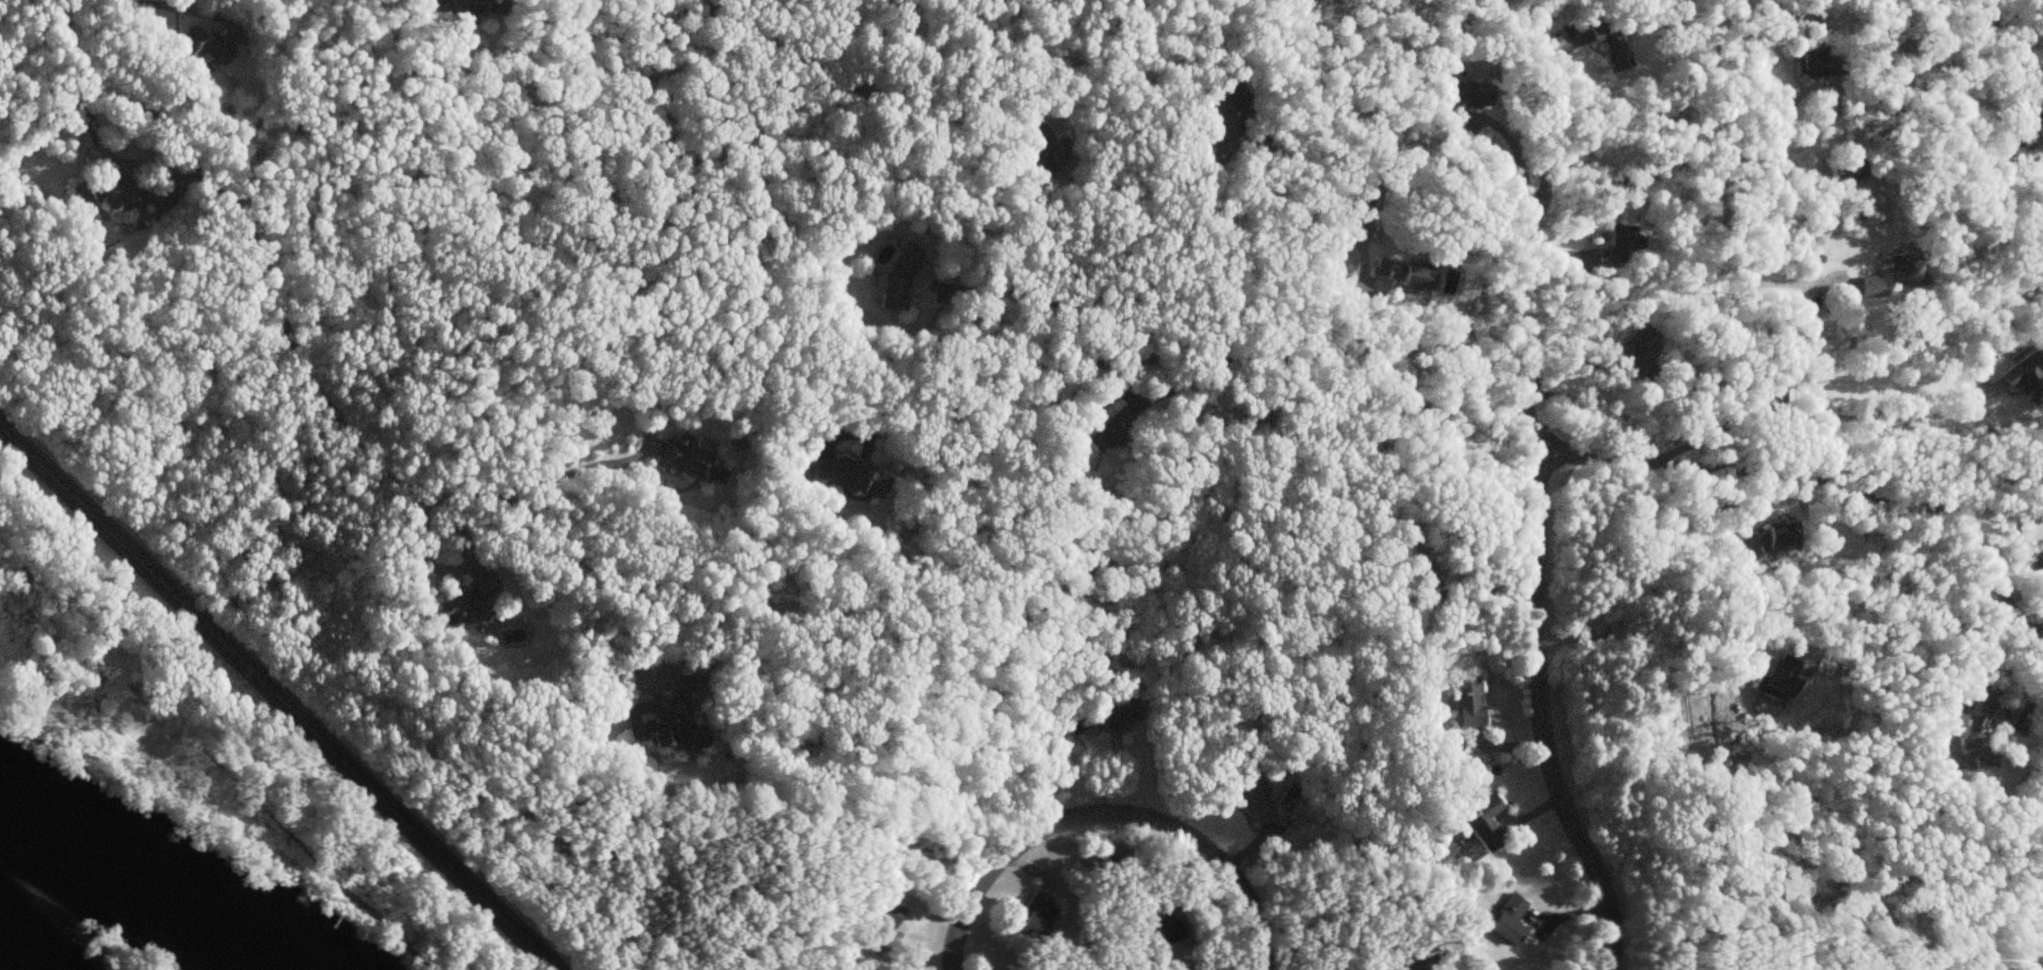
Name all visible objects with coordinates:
road: (175, 6)
building: (471, 7)
building: (1607, 43)
building: (204, 48)
building: (1814, 59)
building: (1456, 98)
road: (1539, 112)
building: (1214, 122)
building: (1044, 153)
road: (119, 158)
building: (1844, 171)
building: (117, 195)
road: (1724, 213)
building: (1616, 241)
road: (1267, 252)
building: (1382, 267)
building: (1413, 277)
building: (897, 278)
road: (256, 280)
road: (1777, 281)
building: (1871, 287)
road: (1092, 289)
road: (1050, 301)
road: (1198, 354)
building: (1632, 355)
road: (1364, 357)
building: (2024, 378)
road: (1627, 383)
road: (1160, 393)
road: (1842, 416)
building: (1102, 430)
building: (688, 461)
road: (384, 462)
road: (589, 466)
road: (1757, 470)
building: (848, 477)
road: (1385, 488)
building: (1770, 540)
road: (1538, 583)
road: (1998, 586)
road: (168, 587)
building: (464, 601)
road: (2042, 637)
road: (1647, 638)
road: (2002, 676)
building: (1777, 678)
building: (1468, 706)
building: (1117, 714)
road: (58, 715)
building: (665, 716)
park: (208, 737)
building: (1963, 738)
building: (1253, 799)
road: (1108, 812)
road: (289, 823)
building: (1484, 823)
road: (1122, 857)
road: (448, 861)
river: (129, 879)
building: (882, 915)
building: (1034, 918)
building: (1507, 918)
building: (1156, 927)
road: (1426, 964)

